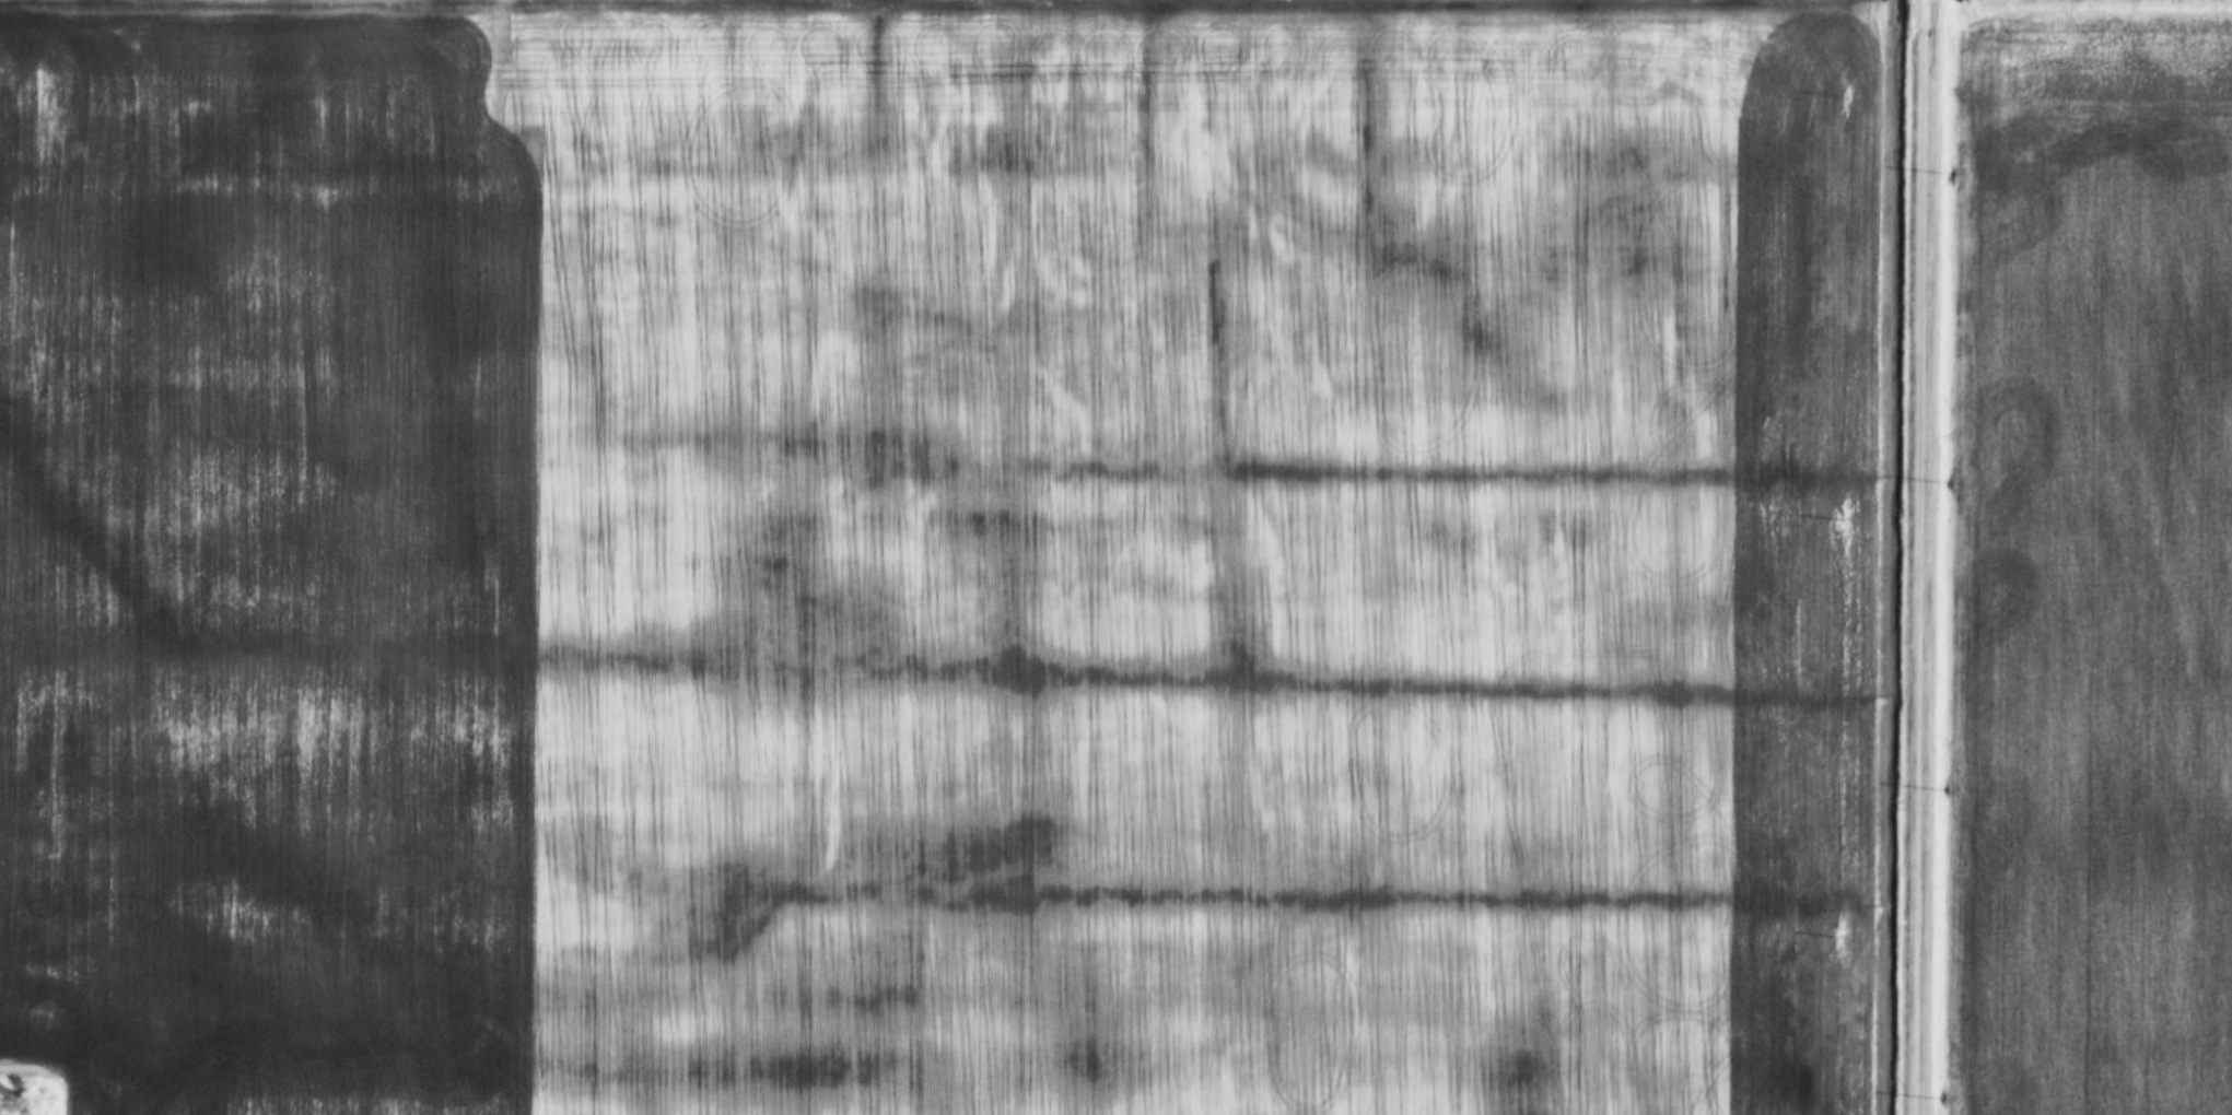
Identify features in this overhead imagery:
road: (1923, 556)

